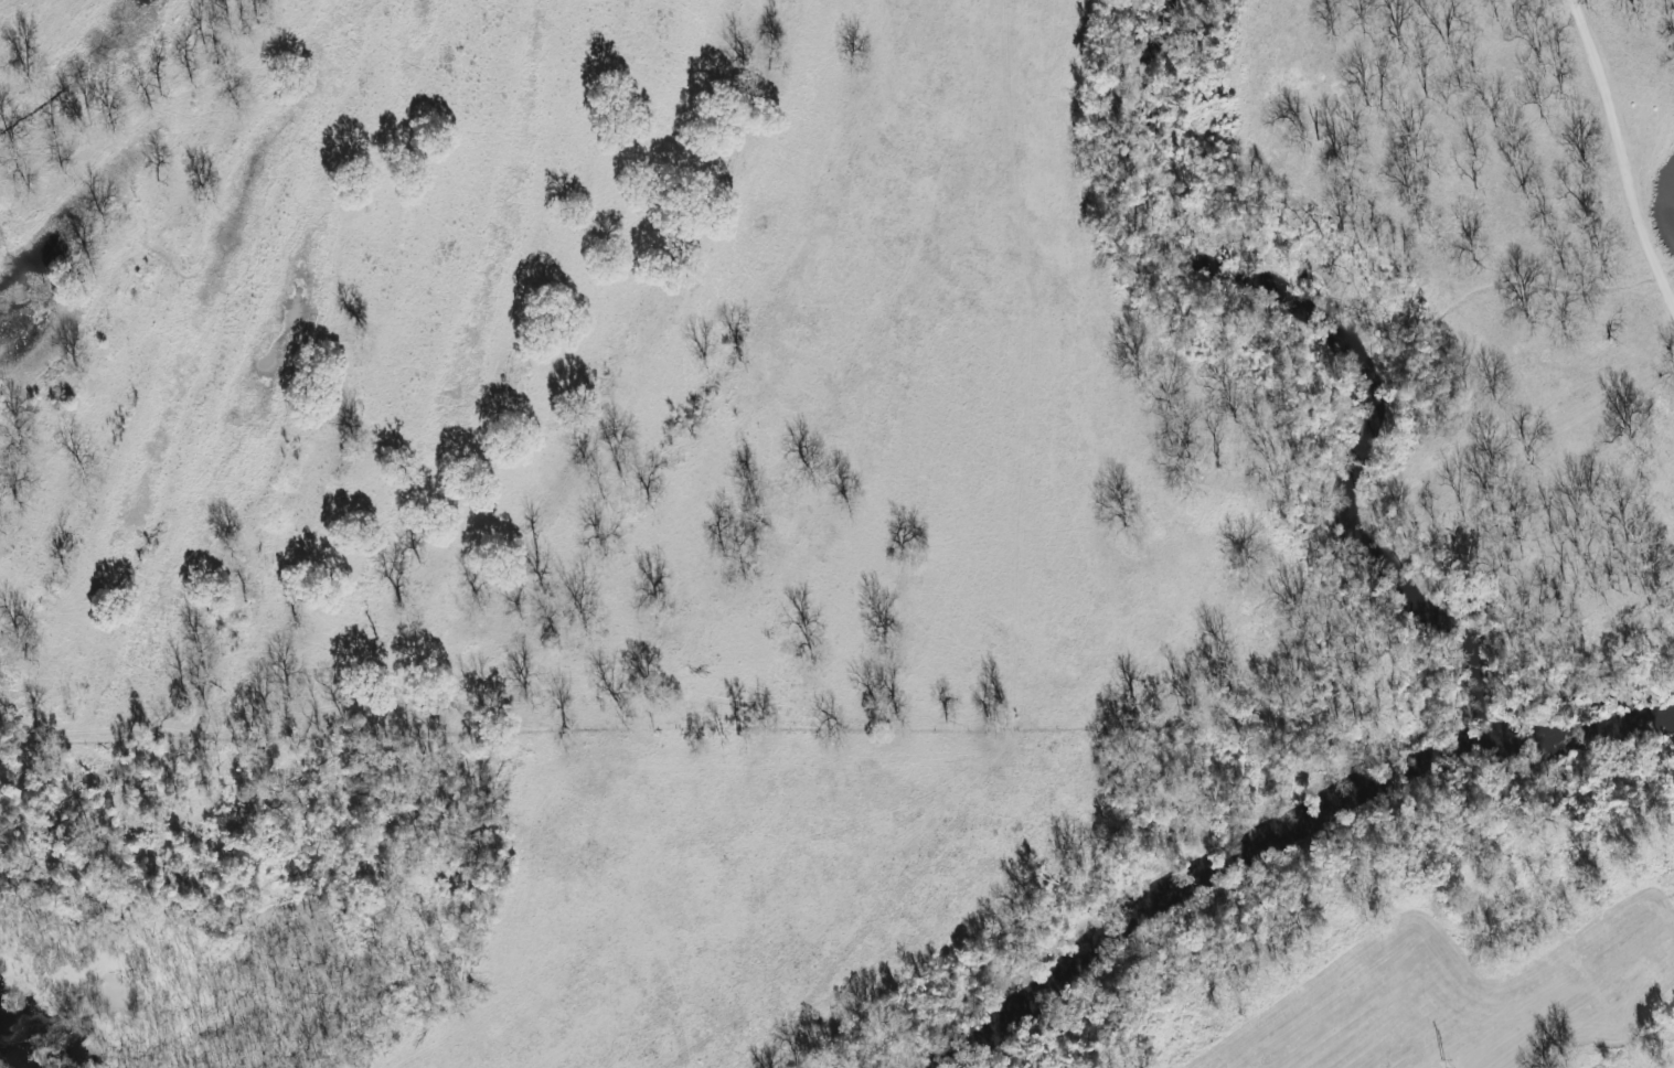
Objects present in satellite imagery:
river: (1277, 829)
power tower: (1442, 1067)

